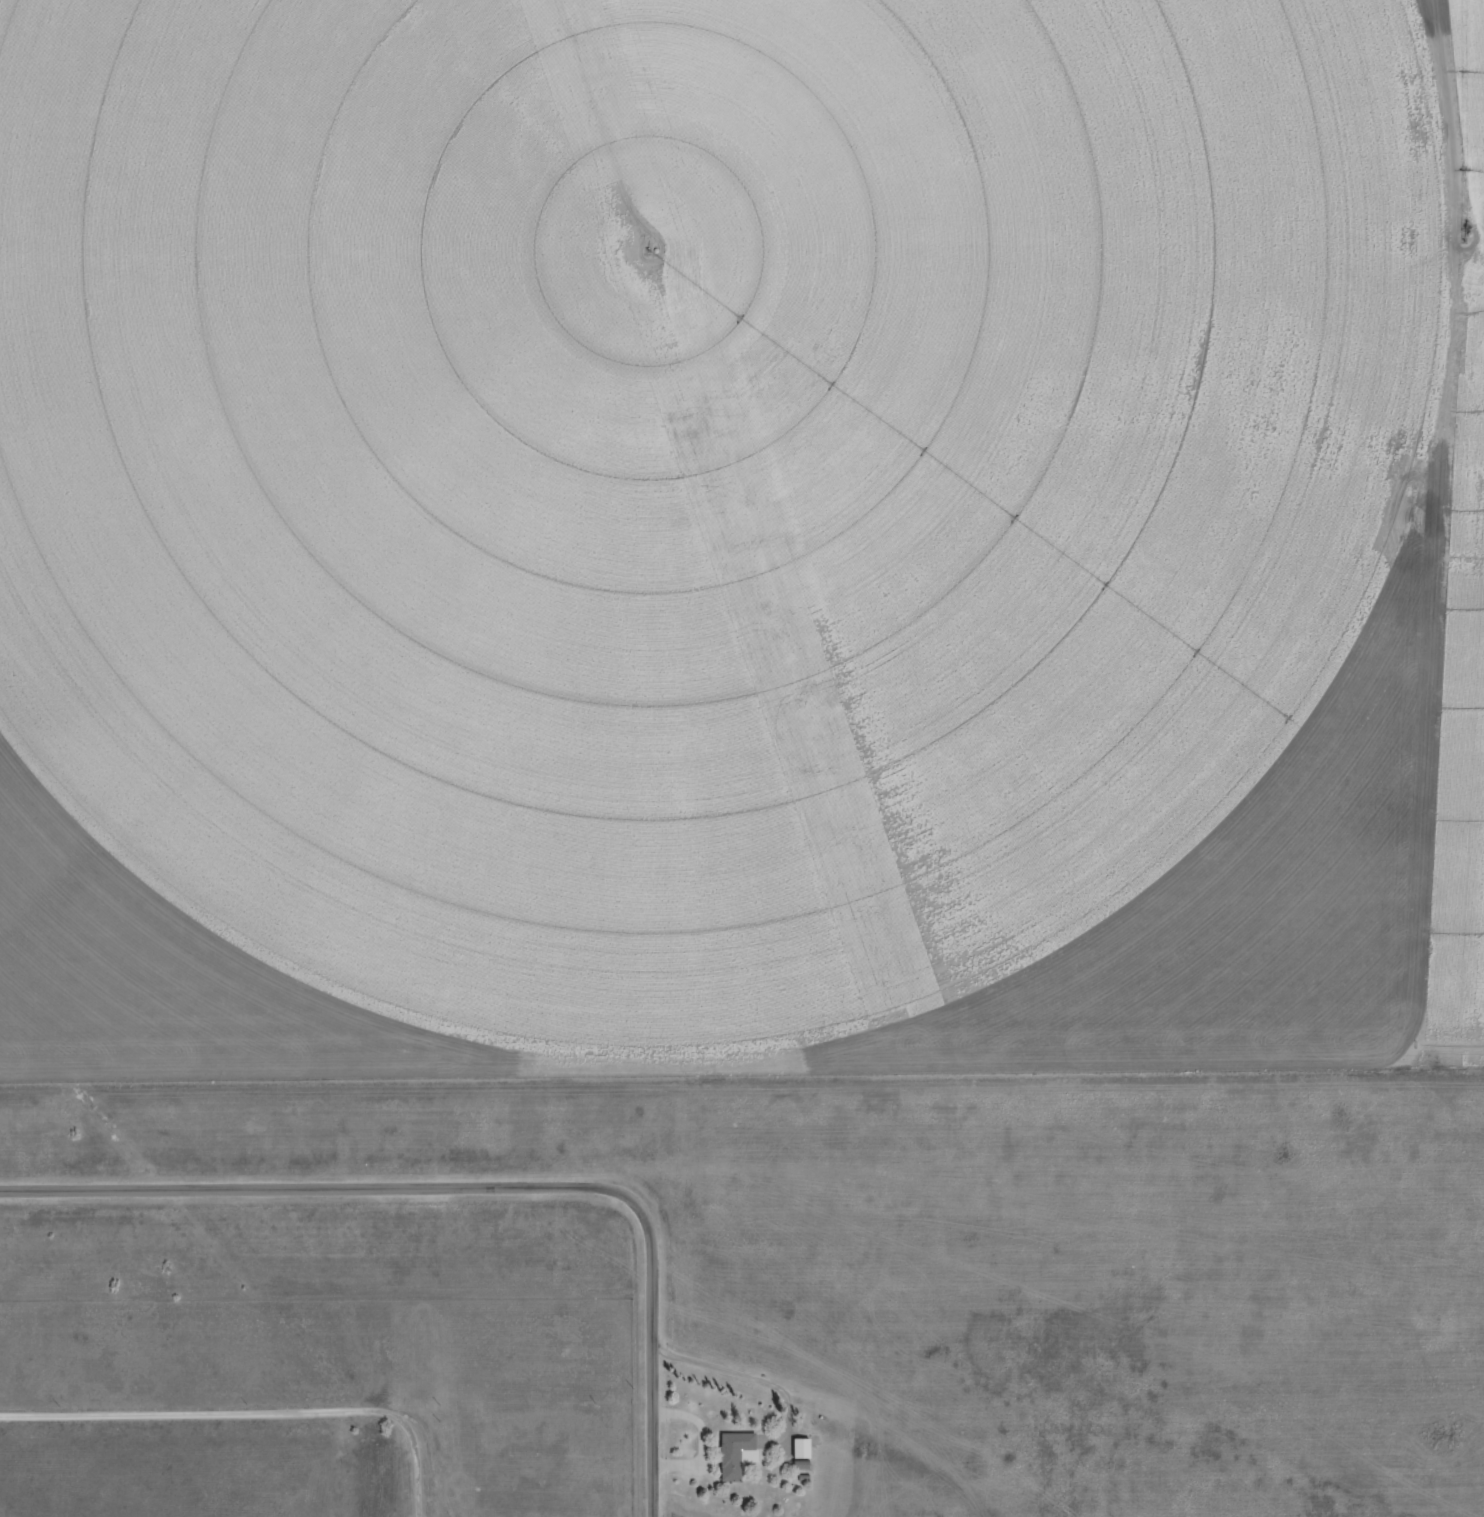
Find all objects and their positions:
road: (479, 1191)
road: (251, 1411)
building: (798, 1448)
building: (731, 1453)
park: (670, 1515)

